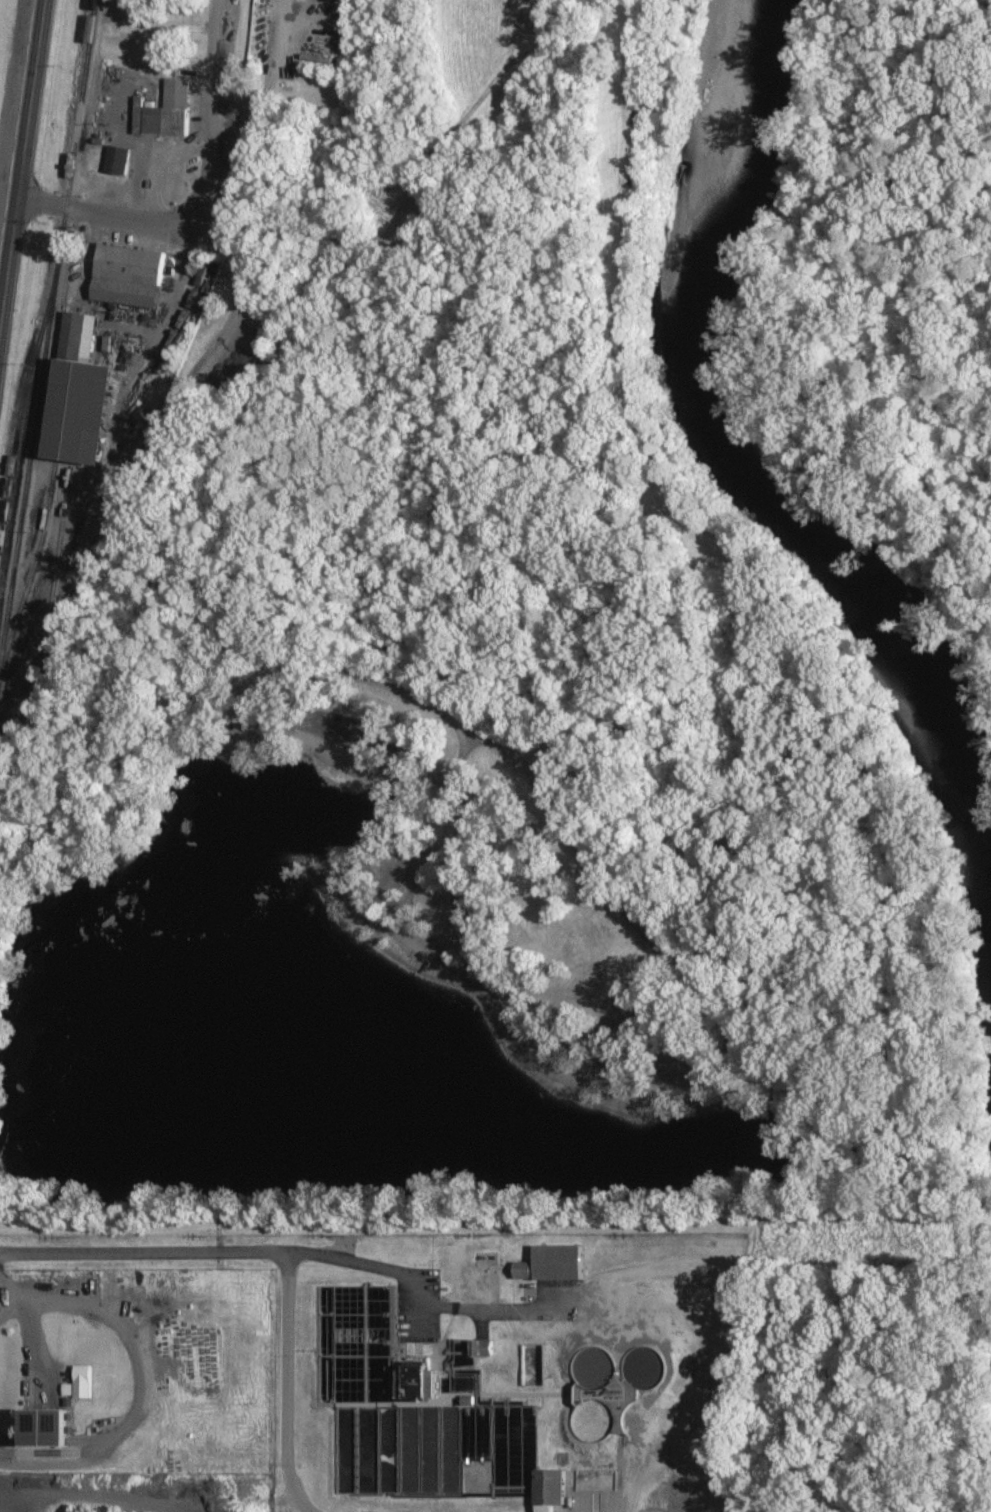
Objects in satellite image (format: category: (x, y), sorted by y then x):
road: (31, 98)
building: (164, 111)
road: (210, 112)
building: (117, 159)
road: (9, 262)
building: (128, 275)
railway: (47, 335)
railway: (25, 391)
building: (84, 410)
river: (728, 450)
railway: (22, 465)
railway: (53, 566)
railway: (32, 571)
railway: (62, 611)
road: (305, 660)
railway: (18, 711)
road: (213, 1252)
building: (559, 1262)
building: (523, 1270)
power substation: (499, 1369)
building: (84, 1381)
building: (253, 1383)
road: (287, 1385)
building: (45, 1428)
building: (520, 1446)
building: (549, 1490)
building: (676, 1493)

